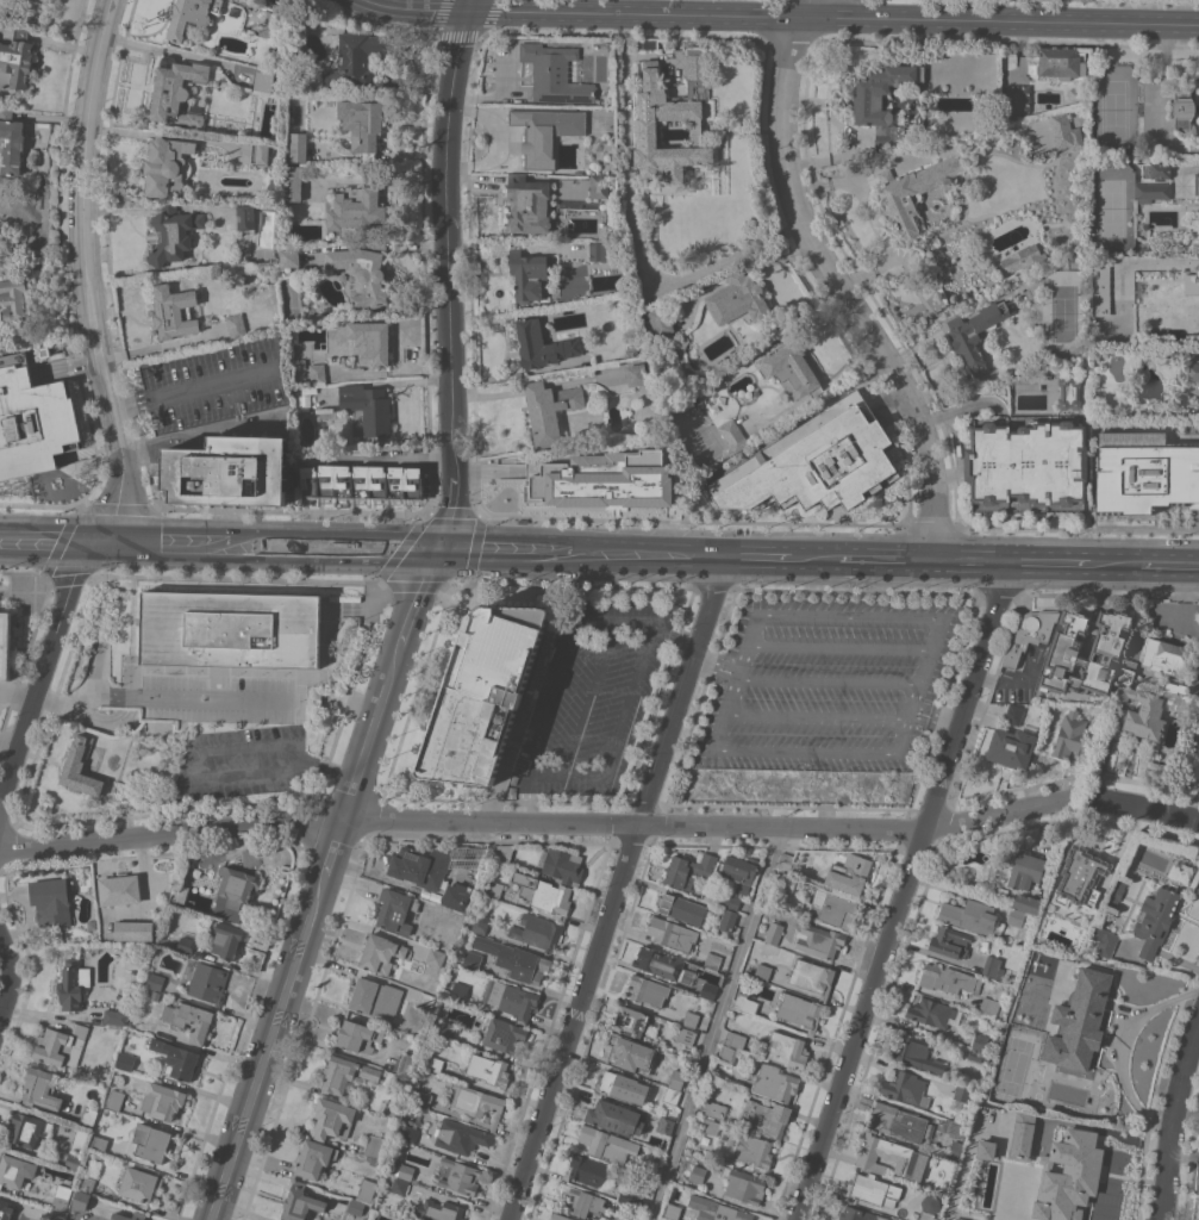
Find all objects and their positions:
building: (44, 0)
building: (233, 11)
traffic signals: (467, 11)
building: (191, 15)
road: (785, 15)
building: (270, 24)
building: (647, 43)
road: (179, 54)
building: (987, 56)
building: (15, 61)
building: (357, 61)
building: (1061, 62)
building: (555, 73)
building: (961, 77)
building: (267, 81)
building: (176, 91)
building: (1018, 98)
building: (868, 101)
building: (1184, 107)
building: (670, 110)
building: (958, 123)
building: (362, 125)
building: (1066, 131)
building: (545, 132)
building: (11, 142)
building: (299, 147)
building: (260, 152)
building: (168, 166)
road: (885, 166)
building: (1156, 170)
building: (753, 175)
building: (1197, 176)
building: (293, 182)
building: (1198, 183)
building: (599, 186)
building: (1151, 191)
building: (913, 194)
building: (529, 204)
building: (357, 206)
building: (246, 218)
road: (870, 218)
road: (89, 226)
road: (445, 228)
road: (631, 229)
building: (174, 234)
building: (599, 250)
building: (1025, 259)
building: (289, 261)
building: (1076, 261)
road: (1174, 262)
building: (363, 274)
building: (529, 274)
building: (1192, 282)
road: (837, 284)
building: (14, 295)
building: (738, 299)
building: (1099, 299)
building: (174, 311)
building: (661, 323)
building: (237, 325)
building: (976, 332)
building: (371, 340)
building: (542, 344)
road: (914, 346)
building: (44, 350)
building: (299, 363)
building: (791, 369)
building: (1189, 371)
building: (318, 373)
building: (637, 374)
parking lot: (207, 386)
road: (194, 387)
building: (1070, 392)
building: (368, 410)
building: (549, 410)
building: (35, 423)
road: (198, 431)
building: (733, 435)
road: (387, 457)
building: (814, 462)
building: (1029, 462)
road: (455, 466)
building: (229, 471)
building: (1144, 472)
building: (600, 479)
road: (124, 498)
road: (451, 513)
building: (643, 513)
road: (43, 541)
traffic signals: (86, 542)
road: (104, 543)
traffic signals: (121, 544)
road: (166, 546)
road: (231, 547)
road: (344, 550)
traffic signals: (436, 553)
road: (519, 554)
road: (664, 558)
road: (760, 559)
road: (813, 560)
road: (886, 560)
road: (972, 561)
road: (1048, 562)
road: (1144, 564)
road: (414, 602)
road: (851, 617)
road: (576, 624)
building: (231, 629)
building: (1030, 633)
building: (5, 645)
road: (842, 646)
building: (1064, 653)
building: (1168, 656)
road: (718, 665)
building: (1129, 672)
road: (43, 679)
parking lot: (829, 680)
road: (831, 680)
road: (737, 681)
parking lot: (595, 685)
road: (922, 686)
building: (1175, 687)
road: (160, 695)
building: (481, 697)
road: (632, 697)
building: (1182, 699)
building: (1056, 709)
road: (941, 710)
building: (1139, 712)
building: (1013, 714)
road: (819, 716)
road: (368, 735)
building: (1070, 735)
building: (1011, 747)
road: (689, 749)
road: (208, 751)
road: (807, 751)
building: (81, 767)
building: (787, 782)
building: (862, 784)
building: (733, 785)
road: (524, 790)
building: (805, 790)
road: (2, 801)
road: (1148, 807)
road: (533, 821)
road: (331, 848)
building: (504, 853)
building: (251, 857)
building: (787, 861)
building: (563, 865)
building: (420, 866)
building: (688, 870)
building: (742, 871)
building: (1025, 871)
building: (849, 873)
building: (1080, 876)
building: (787, 880)
building: (493, 889)
road: (619, 889)
building: (119, 890)
building: (233, 891)
road: (905, 891)
building: (1116, 891)
building: (1001, 892)
building: (181, 894)
building: (457, 896)
building: (548, 896)
building: (52, 900)
building: (732, 901)
building: (1028, 903)
building: (682, 908)
building: (395, 909)
building: (833, 909)
building: (1089, 914)
building: (972, 916)
building: (1017, 917)
building: (729, 919)
building: (1155, 920)
building: (481, 922)
building: (135, 930)
building: (538, 932)
building: (774, 932)
building: (672, 934)
building: (225, 938)
building: (819, 940)
building: (950, 941)
building: (1104, 941)
building: (185, 945)
building: (381, 953)
building: (435, 957)
building: (514, 959)
building: (473, 960)
building: (713, 960)
building: (658, 963)
building: (993, 967)
building: (763, 971)
building: (812, 977)
road: (8, 978)
building: (948, 979)
building: (156, 981)
building: (210, 982)
building: (74, 984)
building: (649, 990)
building: (443, 991)
building: (460, 991)
building: (708, 991)
building: (375, 997)
building: (511, 998)
building: (427, 1001)
building: (745, 1003)
building: (1029, 1006)
building: (989, 1007)
building: (799, 1010)
road: (51, 1012)
building: (936, 1013)
building: (115, 1016)
building: (191, 1020)
building: (693, 1020)
building: (631, 1021)
building: (1079, 1021)
road: (718, 1022)
building: (446, 1029)
building: (358, 1035)
building: (504, 1035)
building: (687, 1035)
building: (736, 1039)
building: (980, 1041)
building: (61, 1045)
road: (266, 1048)
building: (788, 1048)
building: (632, 1053)
building: (917, 1053)
building: (727, 1054)
building: (975, 1056)
building: (176, 1058)
building: (126, 1060)
building: (406, 1064)
building: (435, 1064)
building: (489, 1069)
building: (1038, 1071)
building: (346, 1072)
building: (679, 1081)
building: (775, 1082)
building: (616, 1084)
building: (43, 1088)
building: (906, 1088)
building: (661, 1090)
building: (446, 1091)
building: (962, 1093)
building: (1039, 1096)
building: (673, 1097)
building: (114, 1100)
building: (163, 1100)
building: (423, 1100)
building: (476, 1102)
building: (392, 1108)
building: (712, 1108)
building: (982, 1112)
building: (767, 1116)
building: (88, 1118)
building: (616, 1118)
building: (333, 1119)
building: (900, 1122)
road: (1175, 1123)
building: (410, 1126)
building: (666, 1126)
building: (711, 1126)
building: (27, 1128)
building: (955, 1128)
building: (873, 1131)
building: (1022, 1135)
building: (461, 1137)
building: (99, 1143)
building: (149, 1143)
building: (602, 1143)
building: (374, 1146)
building: (983, 1149)
building: (754, 1150)
building: (956, 1150)
building: (891, 1157)
building: (314, 1158)
building: (73, 1160)
building: (373, 1162)
building: (648, 1169)
building: (402, 1170)
building: (588, 1170)
building: (15, 1171)
building: (697, 1174)
building: (1072, 1175)
building: (461, 1176)
building: (86, 1183)
building: (140, 1183)
building: (395, 1184)
building: (745, 1187)
building: (874, 1189)
building: (367, 1190)
building: (61, 1197)
building: (81, 1199)
building: (630, 1200)
building: (583, 1201)
building: (300, 1202)
building: (355, 1206)
building: (6, 1209)
building: (439, 1210)
building: (683, 1212)
building: (731, 1213)
building: (858, 1214)
building: (56, 1215)
building: (119, 1215)
building: (925, 1215)
building: (564, 1218)
building: (626, 1219)
building: (962, 1219)

